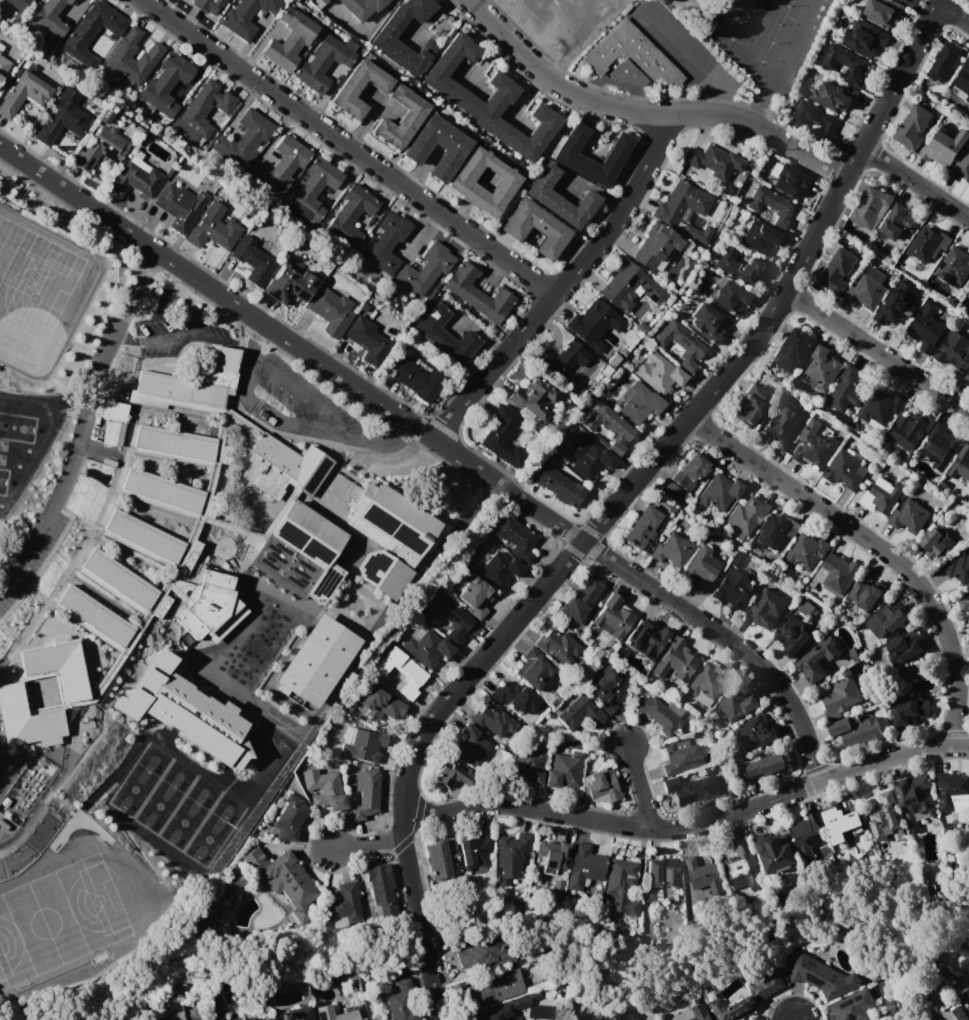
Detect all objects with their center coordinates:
building: (300, 0)
building: (317, 1)
building: (900, 1)
building: (19, 4)
building: (207, 6)
building: (361, 8)
building: (881, 12)
road: (953, 14)
road: (719, 15)
building: (52, 17)
building: (245, 17)
road: (757, 30)
building: (92, 31)
parking lot: (766, 37)
building: (865, 37)
building: (383, 40)
building: (290, 42)
road: (791, 43)
road: (681, 49)
building: (630, 53)
building: (149, 55)
road: (740, 58)
building: (322, 62)
building: (847, 63)
building: (947, 64)
building: (4, 65)
building: (626, 73)
building: (166, 83)
building: (962, 83)
building: (348, 87)
building: (23, 93)
building: (832, 96)
building: (490, 100)
road: (758, 106)
road: (715, 107)
building: (202, 111)
road: (643, 113)
building: (400, 118)
building: (815, 119)
building: (62, 122)
building: (916, 127)
building: (244, 139)
building: (452, 145)
building: (943, 147)
road: (347, 148)
building: (101, 149)
building: (567, 155)
building: (711, 161)
building: (280, 166)
building: (961, 170)
building: (135, 177)
building: (788, 179)
building: (461, 184)
road: (915, 184)
building: (312, 191)
building: (559, 199)
building: (683, 203)
building: (770, 205)
building: (178, 206)
building: (870, 206)
building: (351, 215)
building: (898, 222)
building: (213, 228)
building: (535, 228)
building: (702, 238)
building: (760, 238)
building: (388, 242)
building: (928, 245)
building: (654, 247)
building: (251, 260)
building: (736, 266)
building: (954, 267)
building: (425, 269)
building: (838, 270)
road: (564, 283)
building: (289, 285)
building: (629, 288)
building: (868, 290)
park: (30, 292)
building: (477, 293)
building: (968, 295)
building: (730, 298)
building: (968, 307)
building: (894, 308)
building: (330, 311)
building: (593, 324)
building: (708, 324)
road: (658, 326)
building: (927, 328)
road: (253, 331)
road: (192, 333)
road: (124, 335)
building: (446, 336)
building: (367, 340)
building: (680, 342)
building: (794, 350)
building: (955, 350)
road: (877, 352)
building: (562, 358)
building: (821, 368)
building: (659, 374)
building: (968, 376)
building: (417, 380)
building: (192, 383)
road: (302, 387)
building: (850, 387)
building: (533, 398)
building: (639, 405)
building: (750, 405)
building: (881, 407)
road: (291, 421)
building: (781, 426)
road: (83, 427)
building: (609, 429)
building: (910, 430)
road: (401, 433)
building: (501, 435)
road: (436, 442)
building: (941, 445)
building: (814, 446)
building: (181, 447)
building: (590, 458)
road: (651, 460)
building: (961, 463)
building: (283, 467)
building: (847, 469)
building: (689, 471)
building: (559, 485)
building: (670, 492)
building: (718, 494)
building: (169, 495)
building: (882, 495)
building: (748, 514)
building: (909, 516)
building: (256, 520)
building: (390, 523)
building: (642, 527)
building: (773, 531)
building: (306, 534)
building: (514, 537)
building: (152, 542)
building: (937, 542)
road: (876, 545)
building: (671, 550)
building: (806, 552)
building: (737, 559)
building: (701, 568)
building: (958, 568)
building: (498, 569)
building: (383, 573)
building: (840, 573)
building: (323, 583)
building: (124, 584)
building: (733, 589)
building: (867, 593)
building: (475, 596)
building: (580, 600)
building: (206, 603)
building: (964, 603)
building: (766, 609)
building: (807, 609)
building: (447, 617)
building: (889, 617)
building: (612, 618)
building: (101, 622)
building: (792, 636)
building: (645, 639)
building: (425, 647)
building: (903, 647)
building: (556, 648)
building: (675, 660)
building: (817, 660)
building: (317, 661)
building: (60, 665)
building: (532, 669)
building: (401, 671)
building: (707, 680)
building: (606, 689)
building: (513, 697)
building: (840, 698)
building: (380, 703)
building: (737, 704)
building: (910, 710)
building: (183, 711)
building: (580, 713)
building: (662, 714)
building: (26, 720)
building: (492, 721)
building: (856, 730)
building: (757, 733)
building: (359, 744)
building: (470, 744)
building: (680, 756)
road: (4, 761)
building: (528, 763)
building: (765, 766)
building: (564, 770)
building: (43, 771)
building: (451, 777)
building: (33, 784)
building: (600, 785)
road: (638, 788)
building: (324, 789)
building: (691, 789)
building: (953, 790)
building: (365, 793)
building: (914, 797)
building: (23, 798)
building: (13, 811)
building: (290, 817)
building: (886, 817)
building: (843, 820)
road: (5, 822)
road: (690, 827)
building: (808, 835)
road: (367, 843)
building: (474, 851)
building: (776, 852)
building: (552, 855)
building: (510, 856)
building: (440, 858)
building: (742, 865)
building: (585, 866)
building: (663, 872)
building: (703, 873)
building: (283, 879)
building: (228, 881)
building: (622, 887)
building: (381, 891)
building: (343, 905)
road: (420, 931)
building: (482, 953)
building: (820, 975)
road: (430, 983)
building: (496, 988)
building: (965, 991)
building: (749, 999)
building: (402, 1006)
building: (853, 1006)
building: (164, 1012)
building: (700, 1012)
building: (297, 1013)
building: (494, 1013)
building: (956, 1013)
building: (335, 1014)
building: (626, 1014)
building: (252, 1018)

